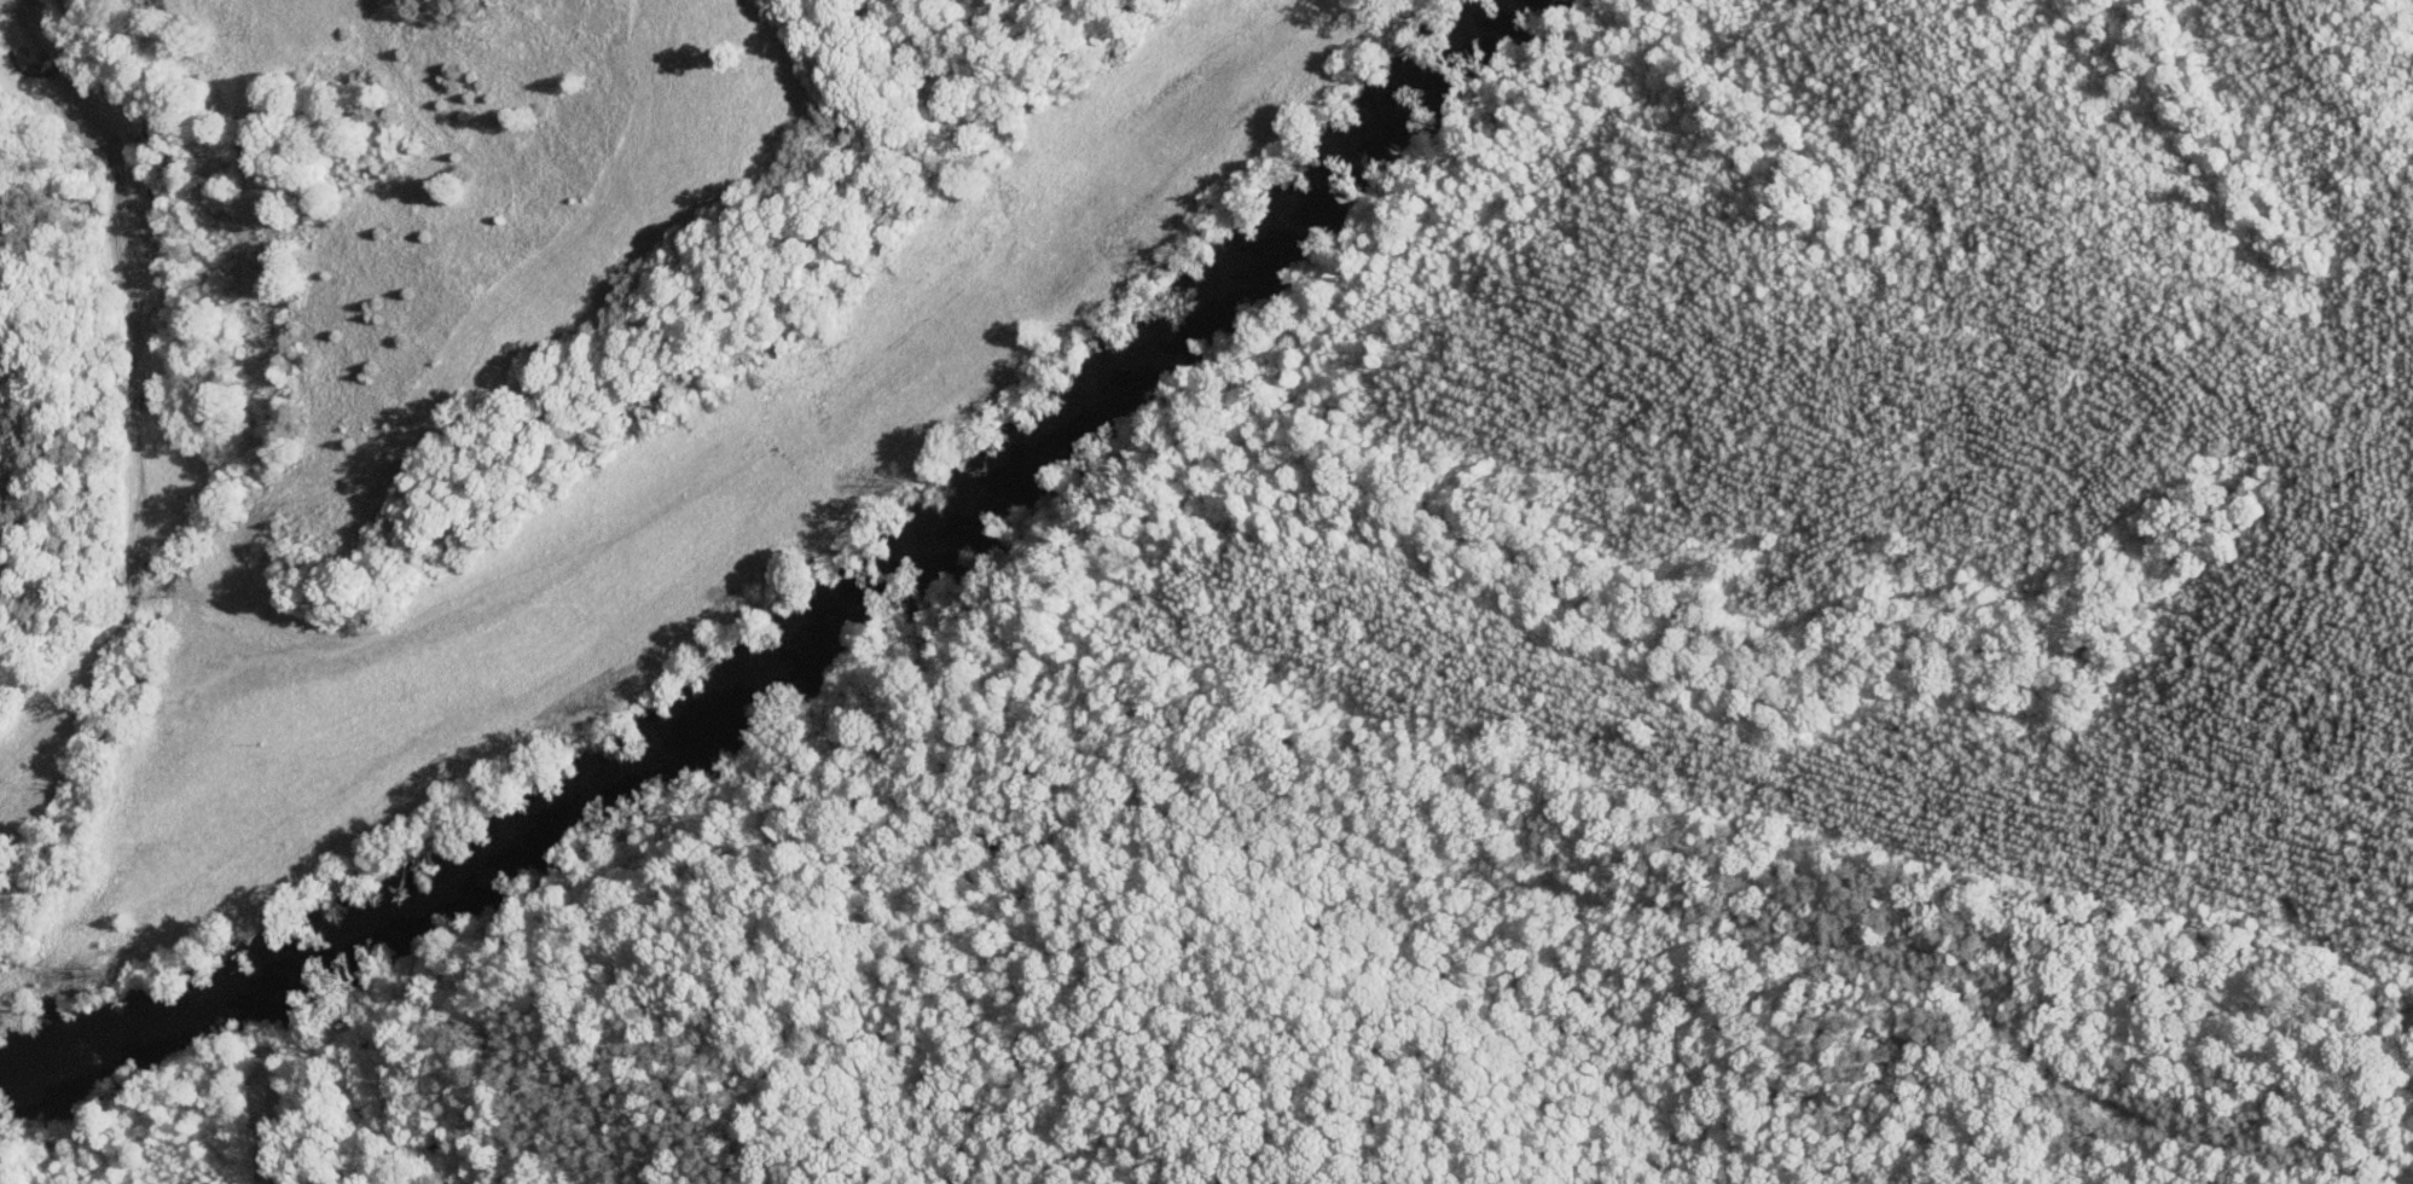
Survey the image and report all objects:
river: (1142, 361)
river: (536, 840)
river: (159, 1040)

